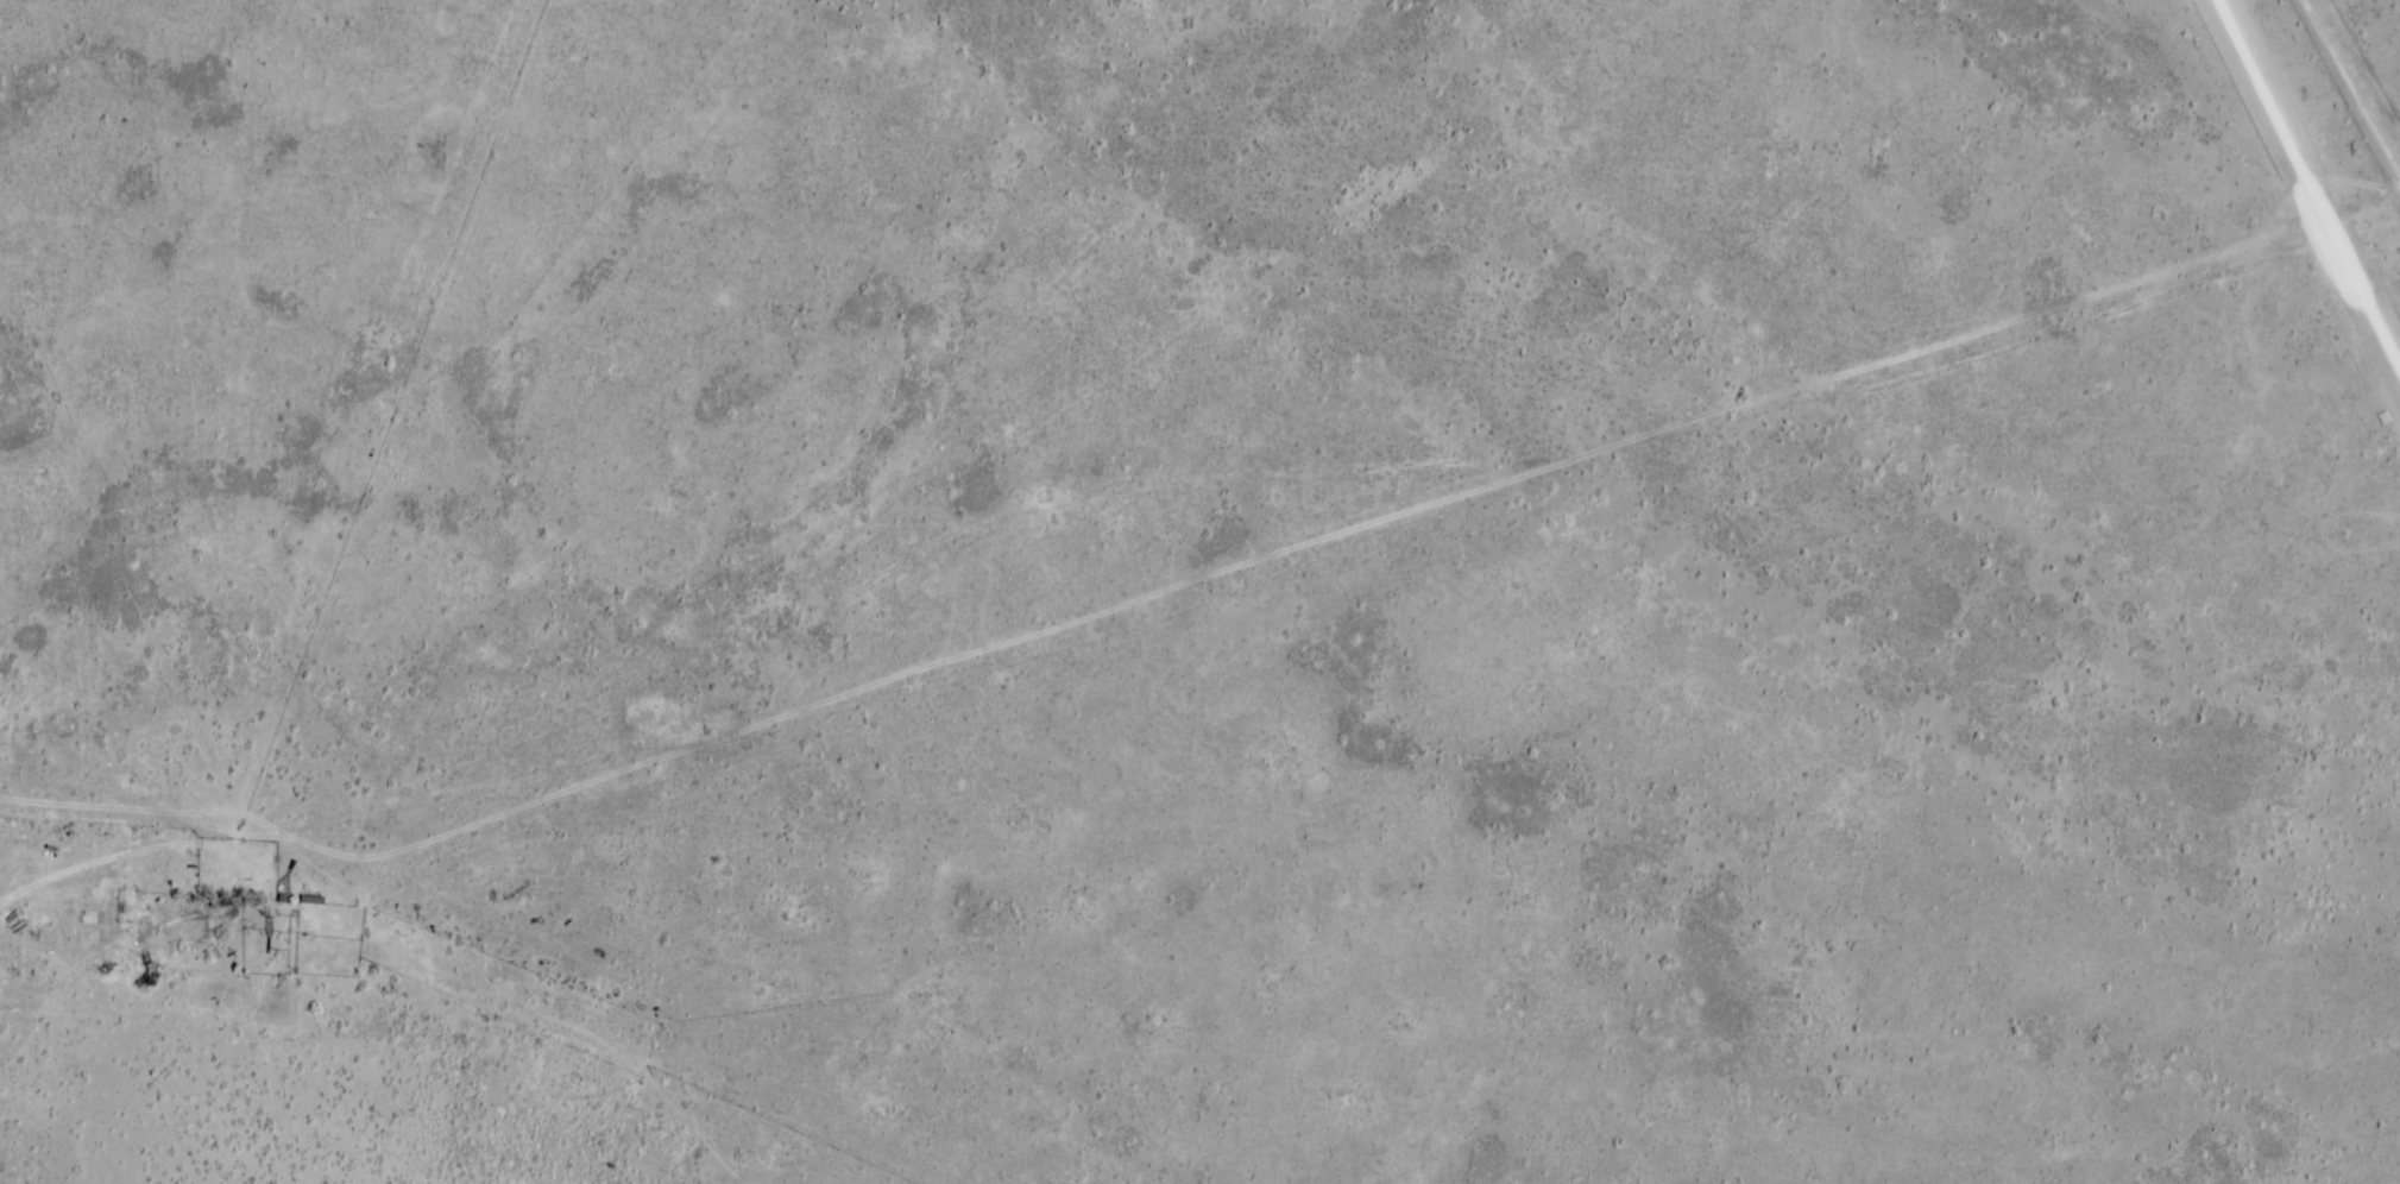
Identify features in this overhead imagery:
road: (189, 787)
road: (84, 824)
building: (107, 915)
building: (146, 933)

